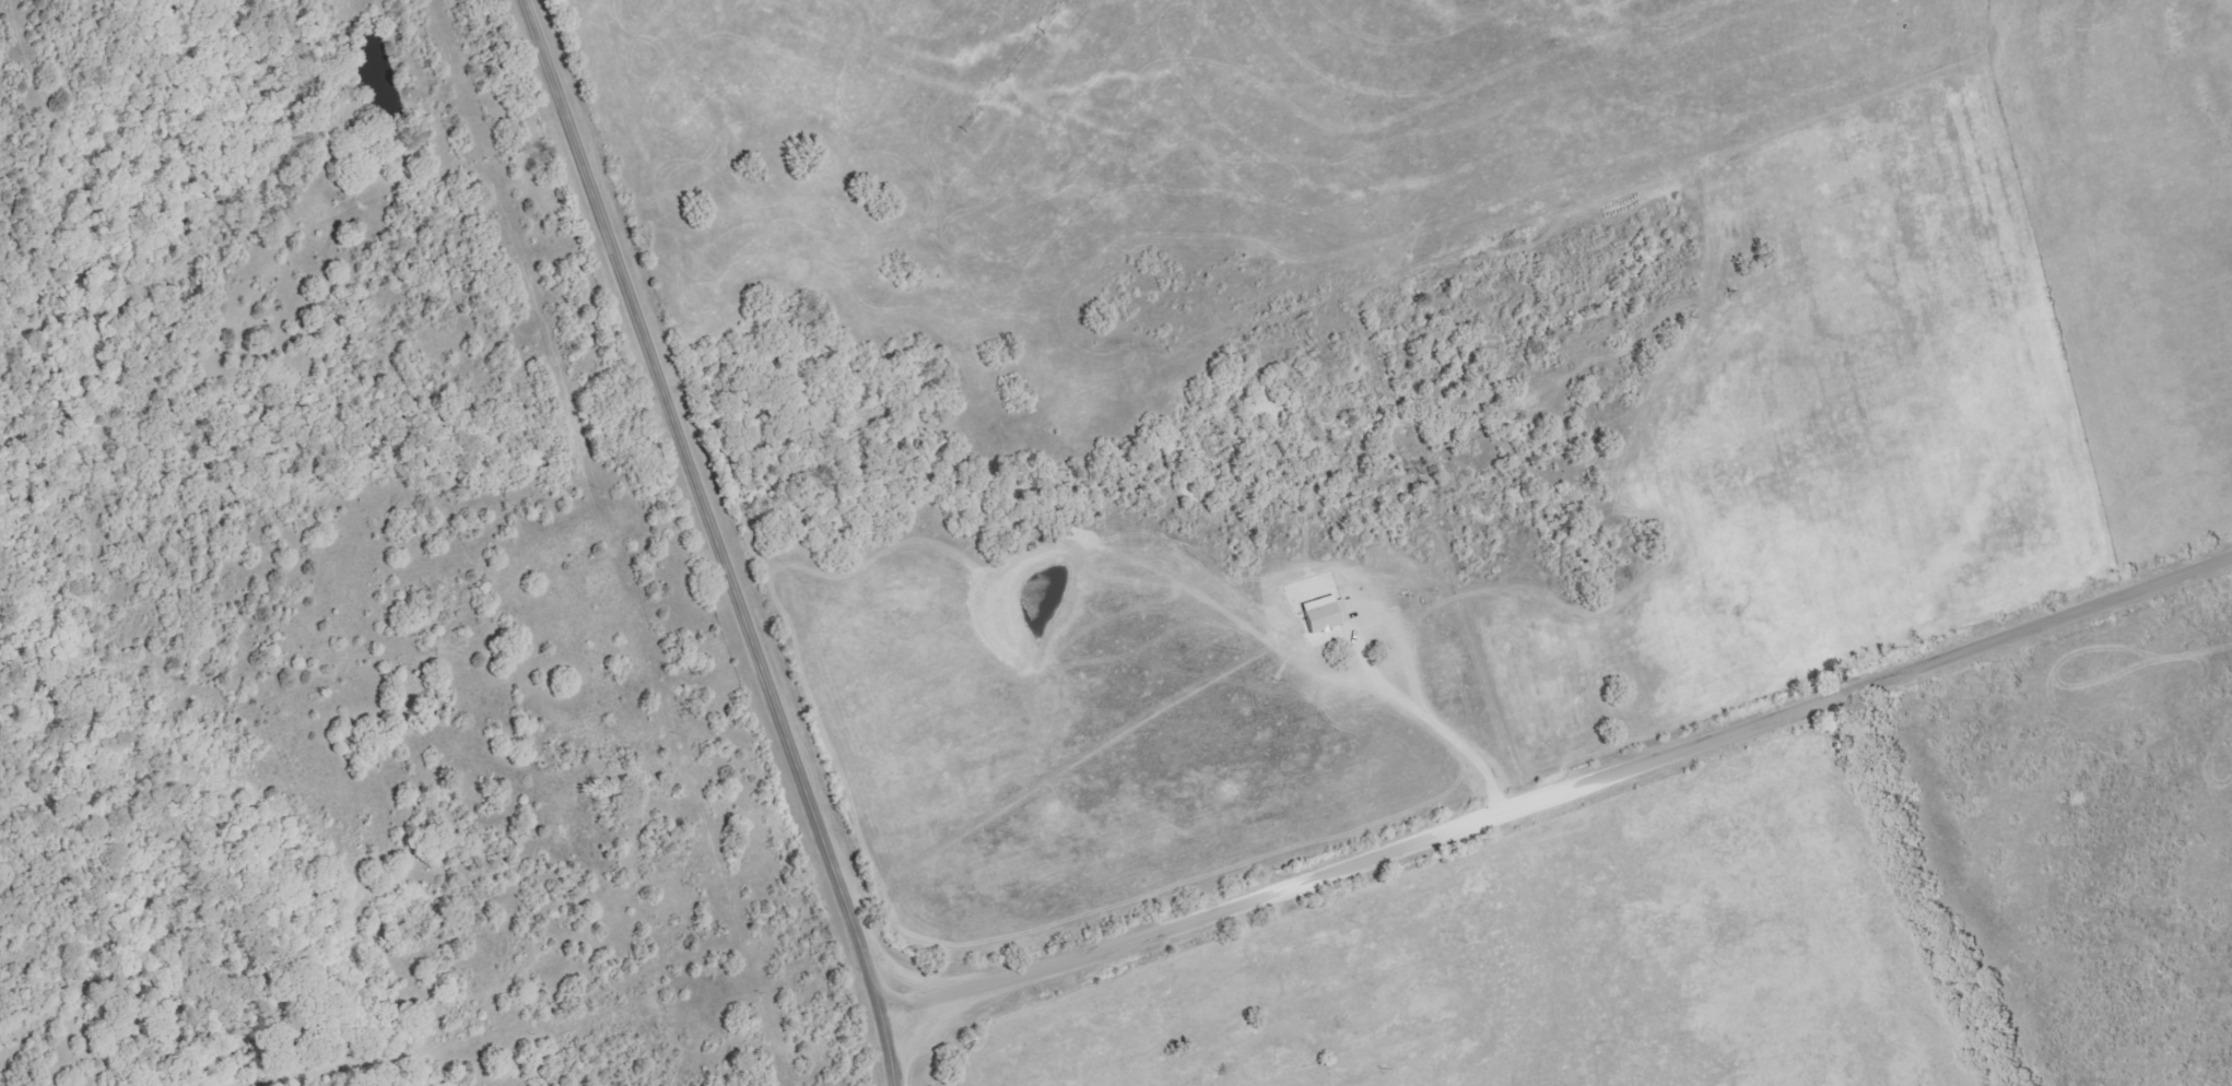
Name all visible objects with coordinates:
road: (718, 540)
building: (1320, 613)
road: (1432, 721)
road: (1556, 795)
road: (809, 1055)

